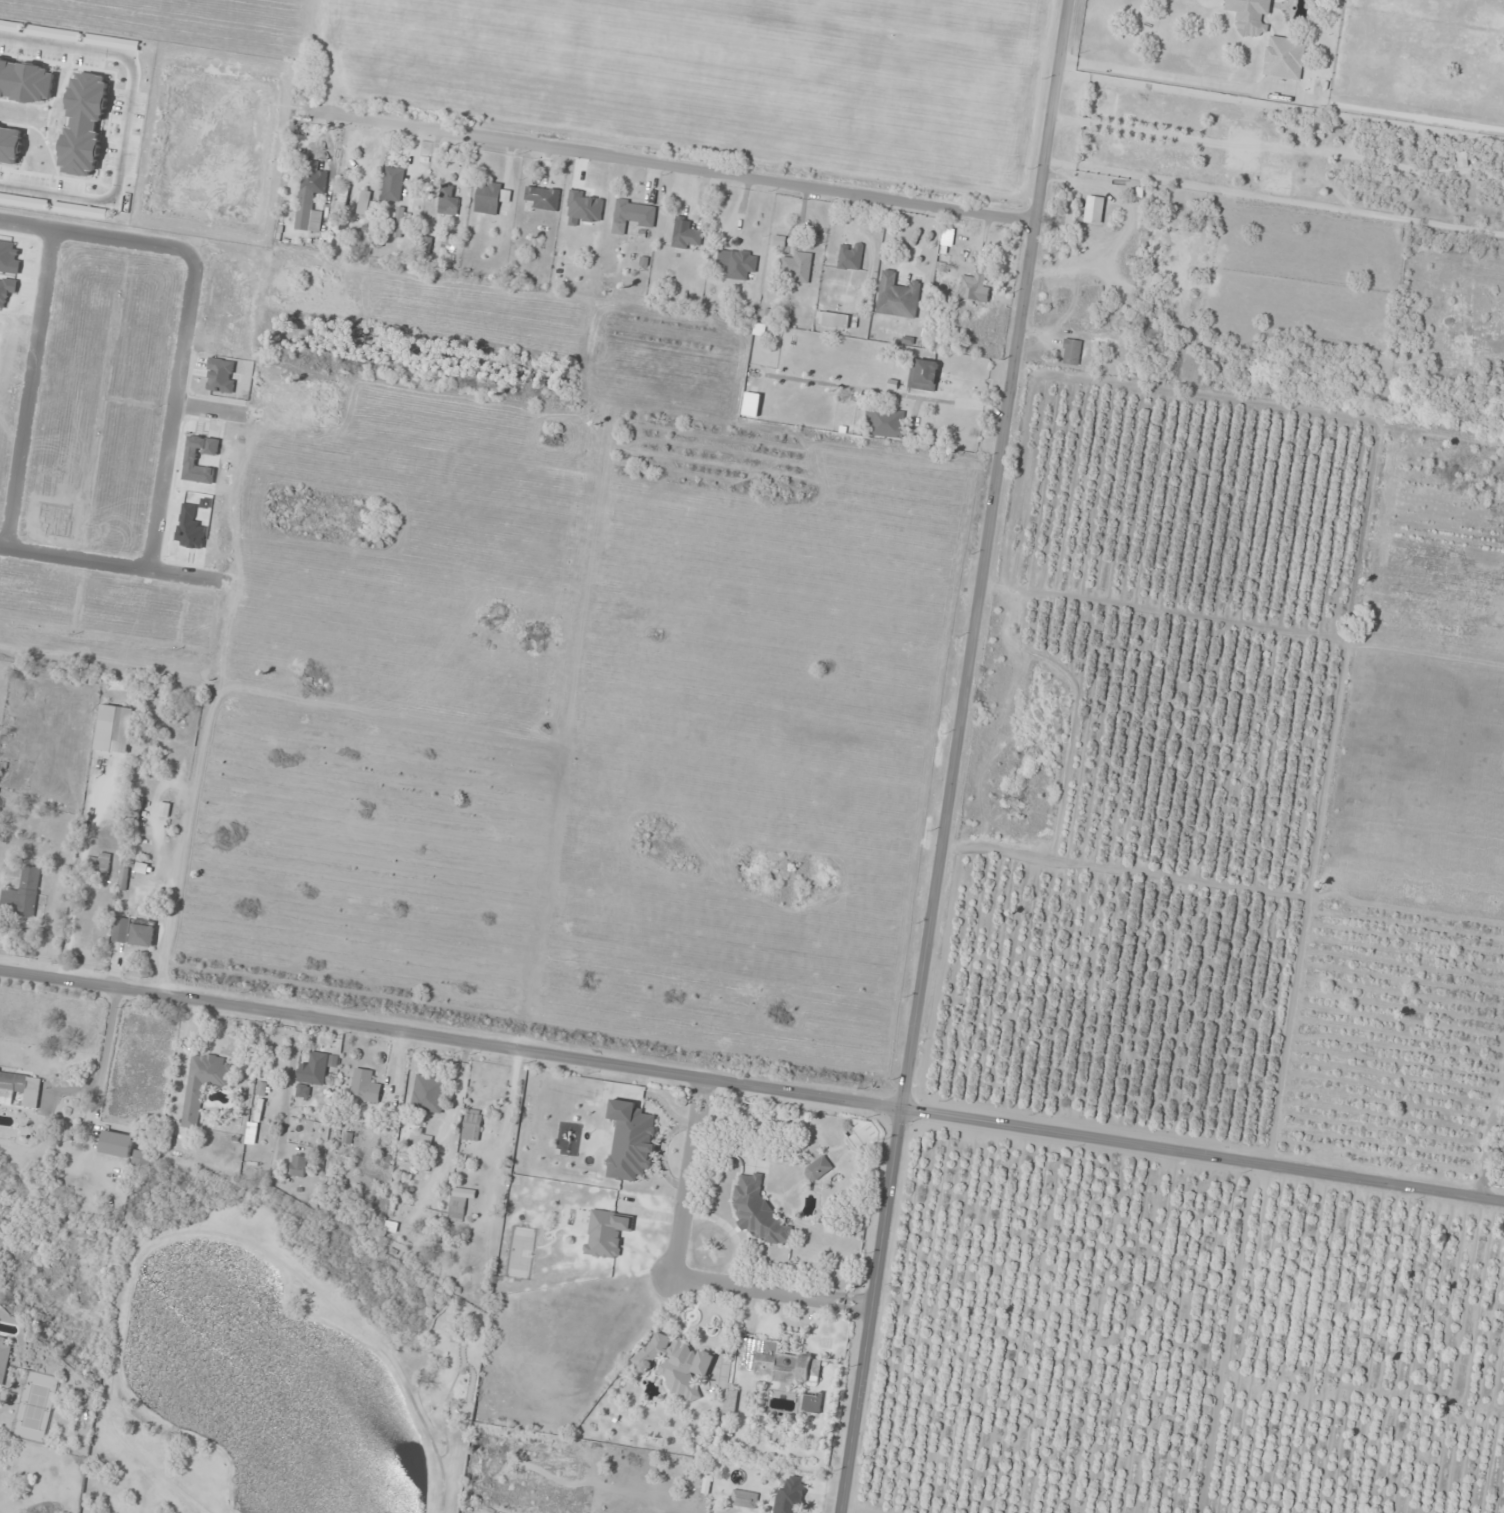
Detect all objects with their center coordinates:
building: (1250, 16)
building: (1284, 58)
road: (1281, 103)
road: (127, 120)
road: (670, 172)
building: (392, 184)
building: (345, 188)
building: (308, 193)
building: (543, 198)
building: (487, 199)
building: (447, 201)
building: (364, 202)
building: (1094, 209)
building: (632, 216)
building: (402, 223)
building: (685, 235)
road: (97, 239)
building: (778, 242)
building: (849, 257)
building: (737, 264)
building: (798, 267)
building: (974, 293)
building: (897, 297)
building: (835, 320)
building: (1071, 352)
building: (923, 375)
road: (30, 391)
road: (172, 415)
building: (890, 418)
road: (531, 460)
road: (74, 559)
road: (230, 583)
road: (588, 629)
road: (862, 674)
building: (114, 730)
road: (289, 737)
road: (961, 756)
road: (564, 783)
building: (164, 810)
building: (33, 822)
road: (894, 833)
building: (100, 864)
building: (142, 868)
building: (124, 879)
building: (22, 894)
road: (829, 895)
building: (120, 930)
building: (143, 933)
road: (543, 935)
road: (454, 1043)
building: (315, 1067)
building: (202, 1084)
building: (365, 1085)
building: (302, 1091)
building: (26, 1093)
building: (429, 1093)
building: (472, 1125)
building: (116, 1144)
road: (1206, 1160)
building: (298, 1165)
building: (818, 1169)
building: (457, 1209)
building: (757, 1212)
building: (606, 1233)
building: (747, 1353)
building: (4, 1359)
building: (676, 1364)
building: (786, 1365)
building: (731, 1401)
building: (812, 1403)
building: (790, 1496)
building: (745, 1499)

